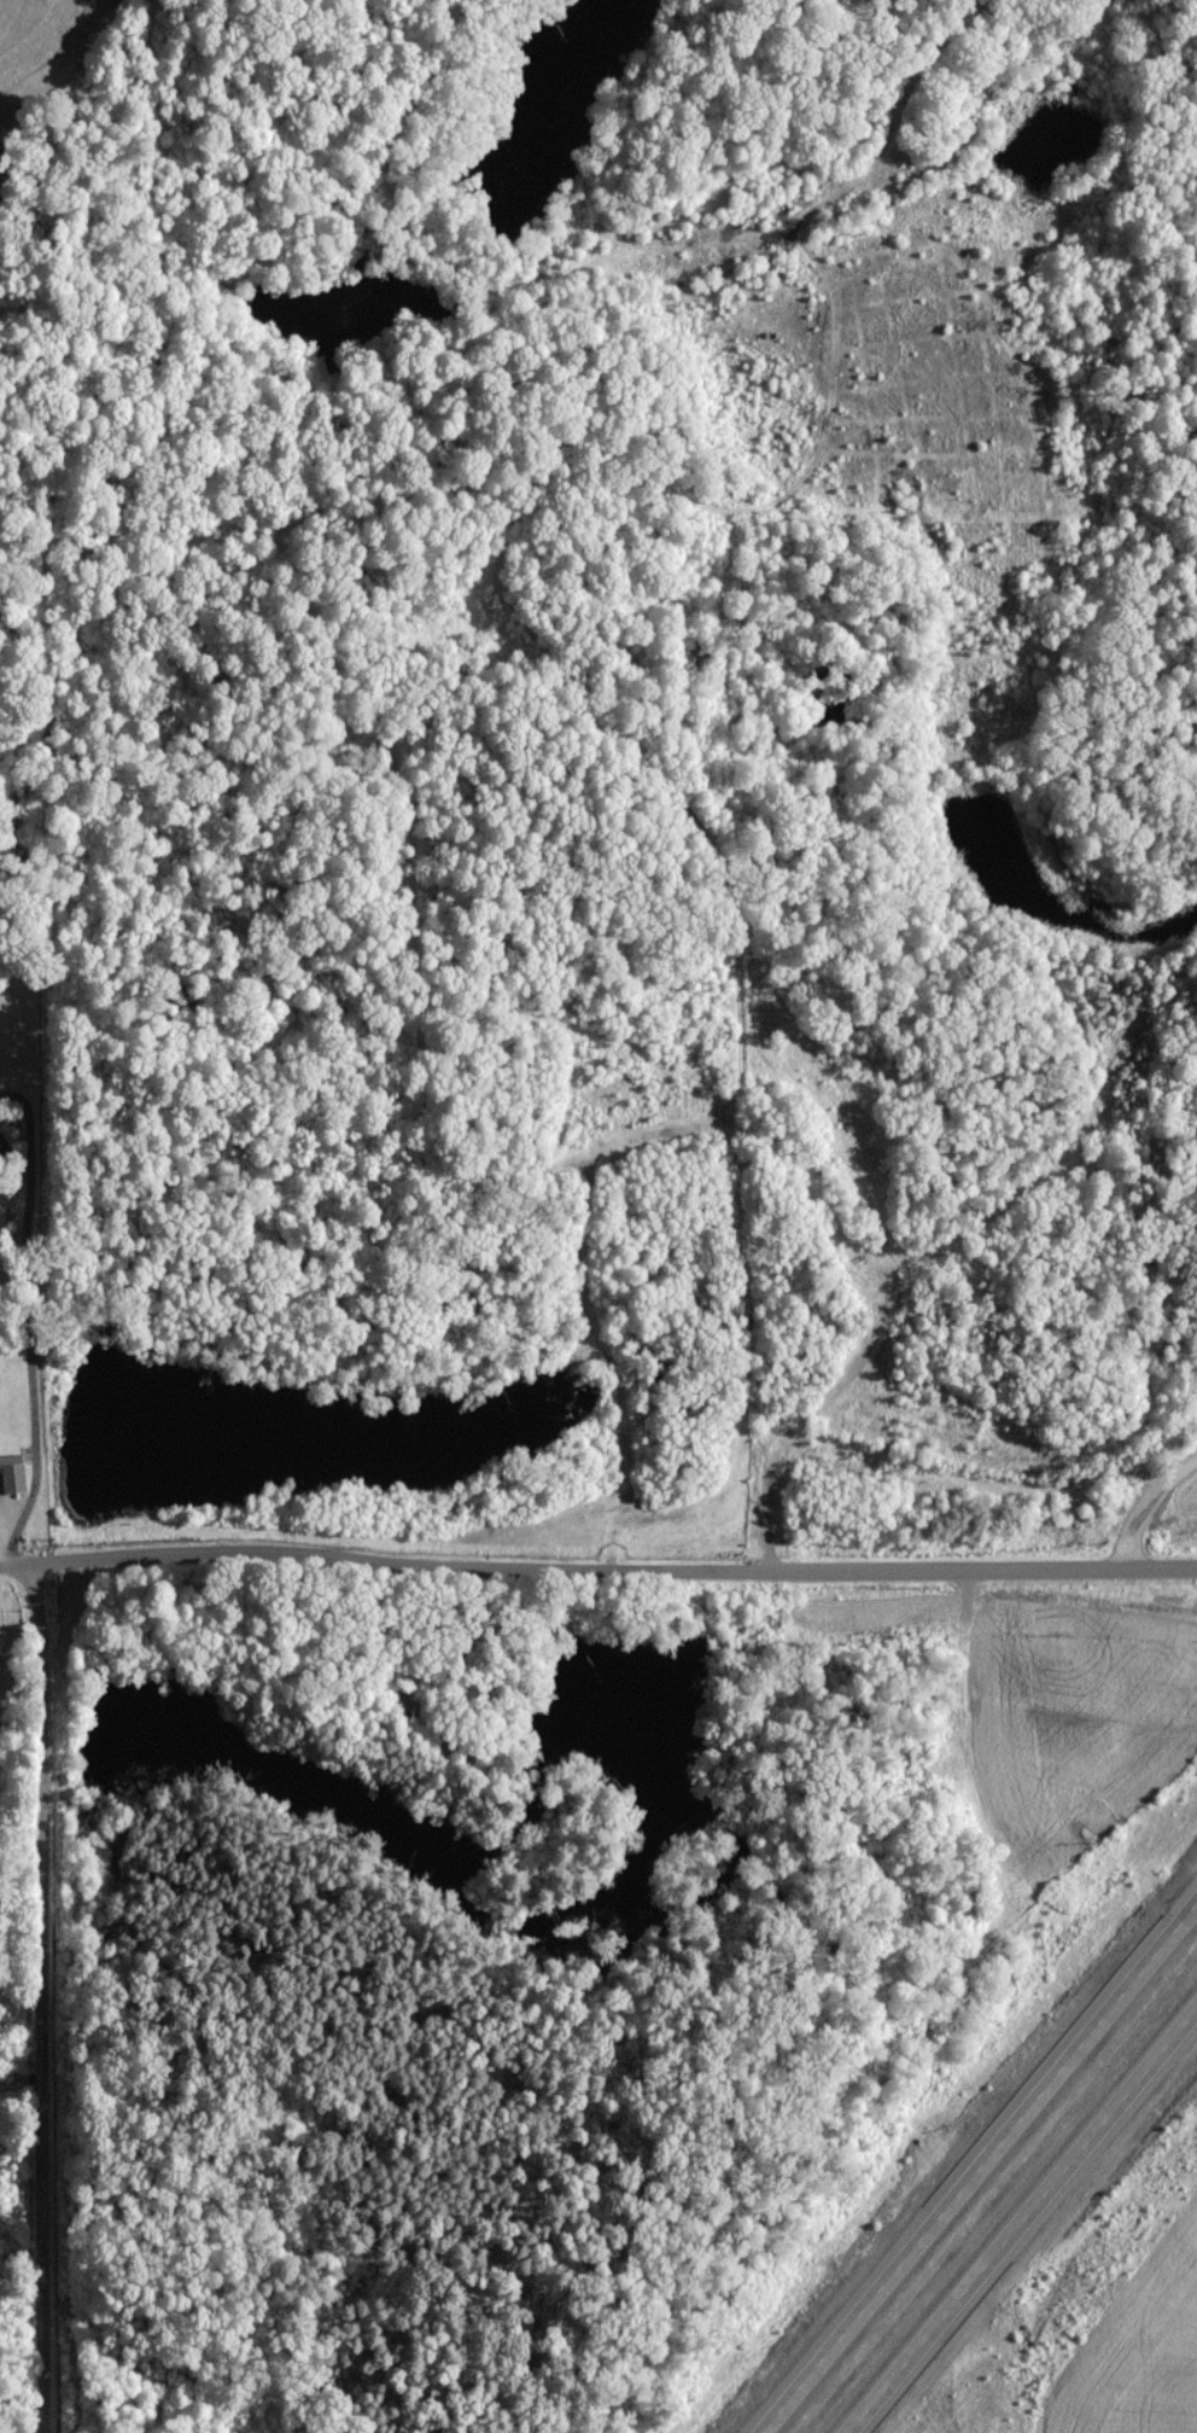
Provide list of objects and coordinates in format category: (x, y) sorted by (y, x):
road: (29, 1128)
road: (16, 1162)
road: (28, 1302)
building: (10, 1482)
road: (31, 1501)
road: (1144, 1508)
road: (597, 1572)
road: (45, 2002)
road: (965, 2155)
road: (1023, 2219)

